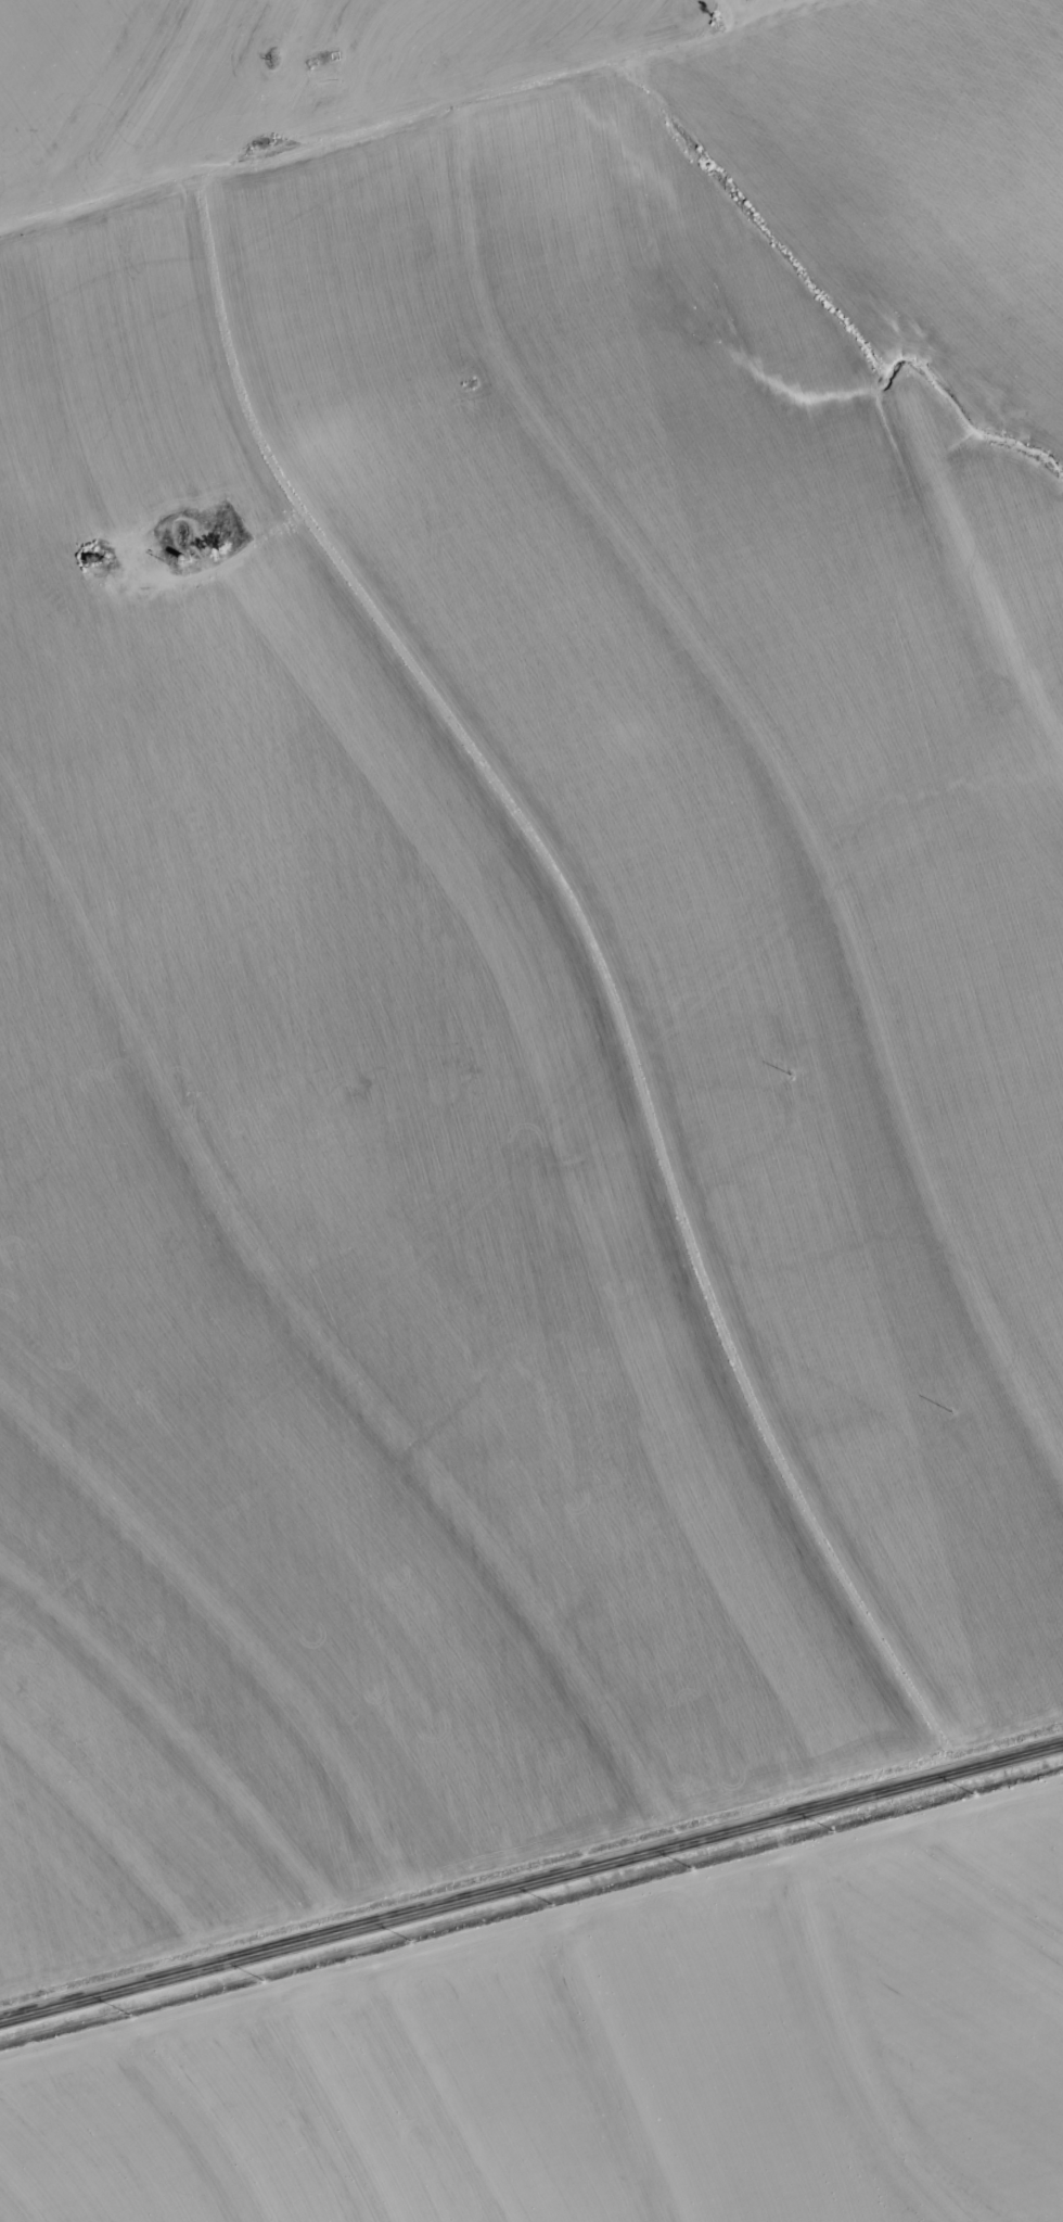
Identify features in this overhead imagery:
road: (531, 1881)

